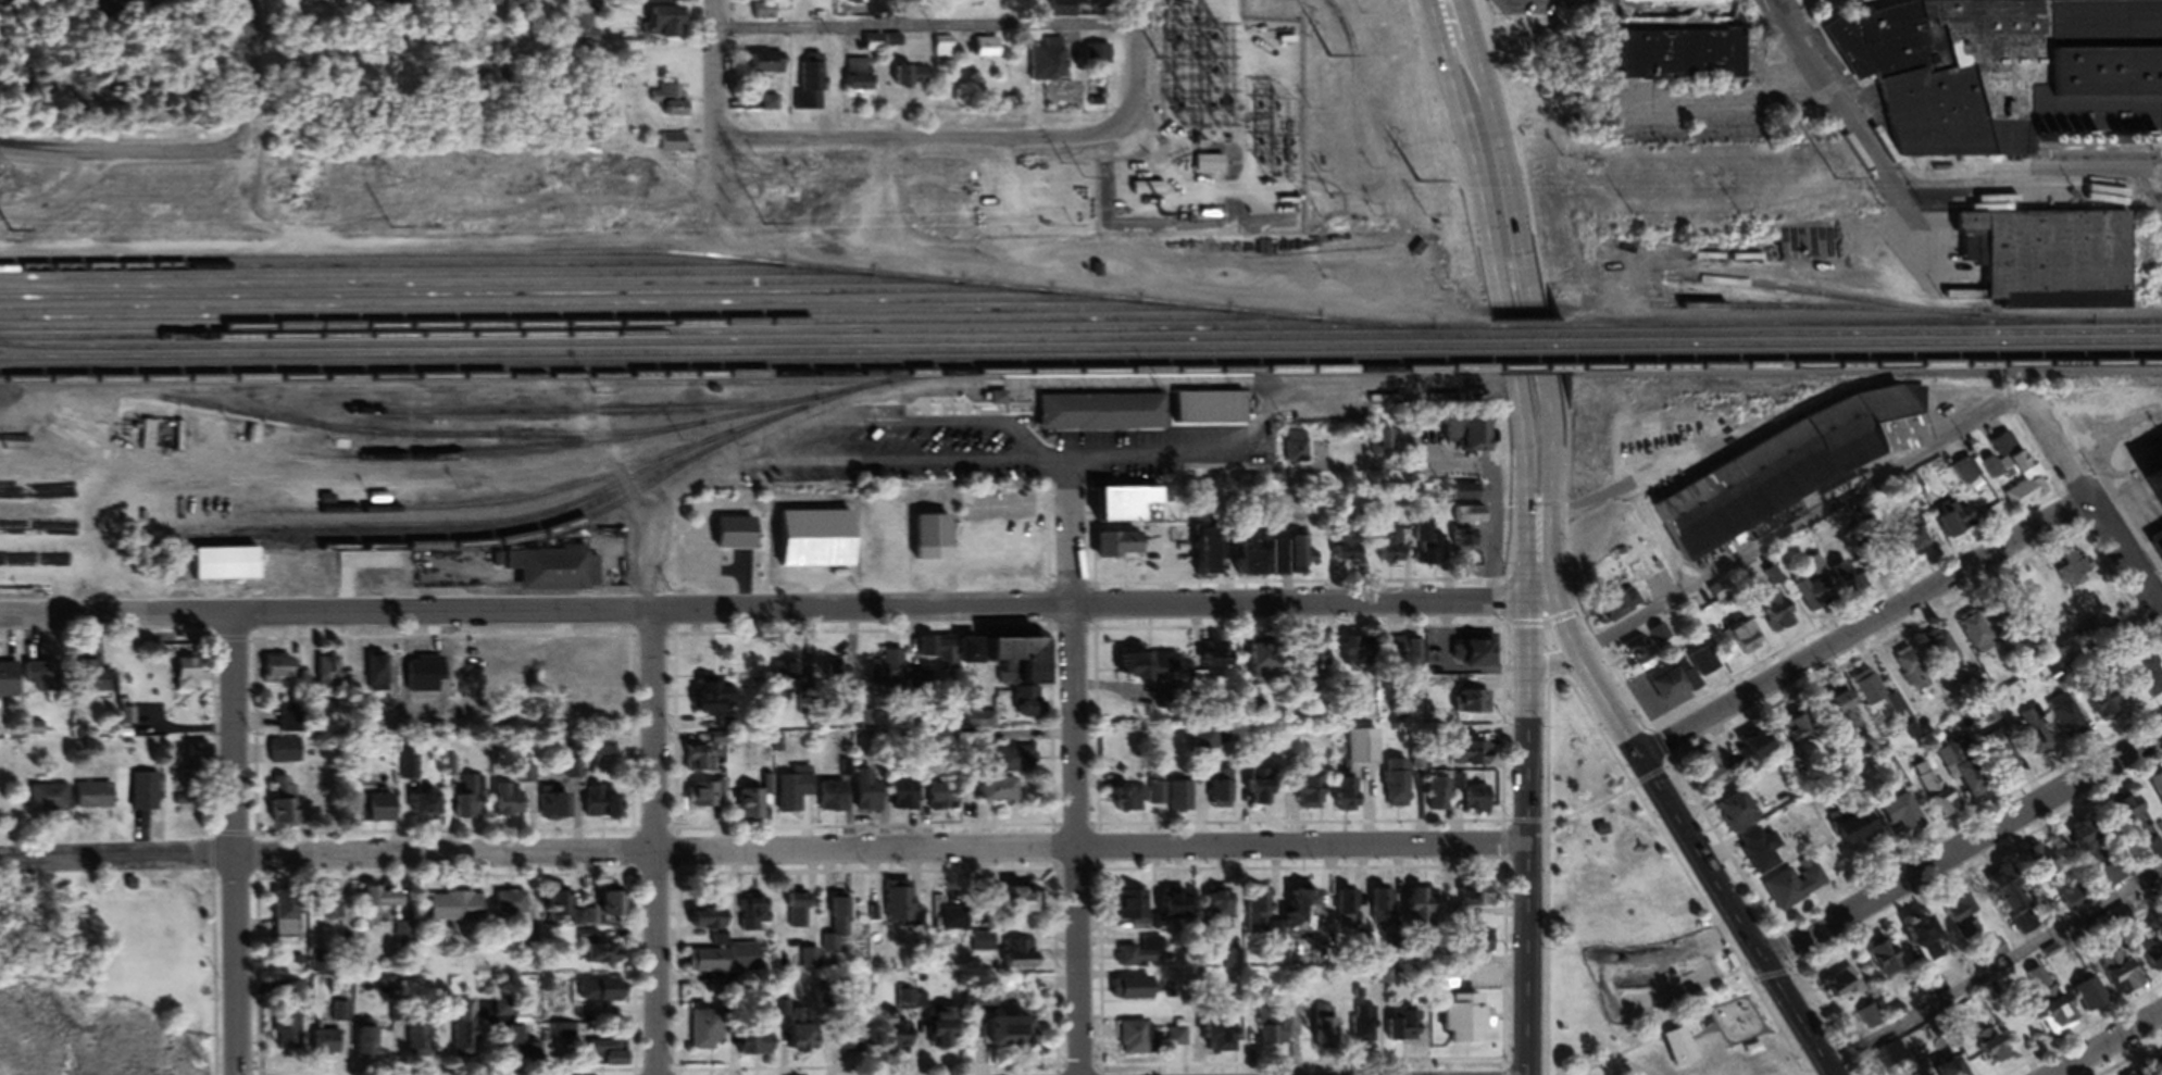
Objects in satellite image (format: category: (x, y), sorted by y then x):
building: (365, 1)
building: (909, 1)
building: (1091, 1)
building: (1671, 3)
building: (490, 4)
road: (1447, 8)
building: (873, 9)
building: (763, 15)
building: (667, 27)
road: (925, 29)
building: (587, 34)
building: (876, 47)
building: (988, 51)
building: (945, 52)
building: (1684, 59)
building: (1099, 60)
road: (1137, 60)
power tower: (1157, 63)
power tower: (1330, 63)
building: (1049, 64)
building: (768, 67)
building: (2010, 79)
road: (715, 80)
building: (861, 80)
building: (913, 82)
building: (813, 89)
road: (1832, 97)
road: (1724, 98)
building: (672, 105)
building: (772, 108)
road: (937, 139)
building: (673, 147)
power substation: (1182, 149)
road: (193, 151)
building: (1212, 167)
power tower: (1062, 168)
power tower: (1921, 172)
power tower: (1329, 177)
power tower: (751, 182)
power tower: (1834, 183)
power tower: (388, 185)
power tower: (1420, 187)
power tower: (14, 189)
power tower: (1172, 216)
power tower: (1733, 217)
power tower: (1333, 223)
railway: (714, 262)
building: (2058, 263)
railway: (389, 270)
railway: (434, 278)
railway: (479, 289)
railway: (523, 298)
road: (1528, 302)
railway: (1870, 304)
railway: (567, 308)
road: (1501, 308)
railway: (1808, 311)
railway: (612, 318)
railway: (658, 327)
railway: (1862, 328)
railway: (1526, 332)
railway: (743, 337)
railway: (1865, 338)
railway: (1529, 341)
railway: (745, 347)
railway: (1865, 349)
railway: (1532, 351)
railway: (747, 358)
railway: (1866, 360)
railway: (1533, 363)
railway: (748, 368)
railway: (1867, 370)
railway: (1536, 372)
railway: (749, 378)
railway: (1179, 378)
building: (1000, 402)
building: (1207, 412)
railway: (567, 413)
building: (1104, 415)
railway: (468, 438)
building: (149, 440)
railway: (640, 440)
building: (1487, 441)
building: (1386, 443)
building: (1360, 446)
parking lot: (947, 453)
road: (759, 457)
building: (2011, 459)
road: (1120, 464)
road: (1058, 465)
building: (1994, 472)
road: (1461, 473)
building: (1794, 473)
building: (1966, 474)
railway: (573, 489)
building: (53, 497)
building: (2027, 497)
road: (2090, 508)
building: (1129, 509)
building: (1959, 524)
road: (982, 528)
railway: (471, 529)
railway: (509, 534)
building: (936, 535)
road: (1071, 536)
building: (739, 537)
road: (1773, 541)
building: (820, 542)
building: (1915, 542)
railway: (515, 543)
building: (1470, 543)
building: (1392, 549)
building: (1123, 550)
building: (1350, 551)
building: (1432, 553)
building: (1209, 557)
building: (1263, 558)
building: (1304, 559)
building: (229, 568)
building: (557, 573)
building: (2075, 574)
building: (1851, 584)
building: (1722, 597)
building: (1814, 597)
road: (778, 610)
building: (1622, 610)
building: (1778, 615)
building: (2009, 624)
road: (1862, 628)
road: (1072, 634)
building: (1975, 636)
road: (651, 638)
building: (1746, 638)
building: (1660, 639)
road: (203, 643)
building: (1319, 652)
building: (1404, 653)
building: (1944, 653)
building: (1360, 654)
building: (1484, 654)
building: (1641, 657)
building: (1266, 660)
building: (1216, 662)
building: (937, 665)
building: (1150, 670)
building: (888, 672)
building: (282, 673)
building: (1014, 674)
building: (1912, 674)
building: (2150, 678)
building: (190, 679)
building: (838, 679)
building: (43, 680)
building: (99, 680)
building: (328, 680)
building: (787, 683)
building: (9, 685)
building: (1670, 686)
building: (1874, 696)
building: (718, 701)
building: (1474, 707)
building: (1848, 714)
building: (2065, 716)
building: (1799, 733)
building: (2035, 739)
building: (1207, 742)
building: (1364, 750)
building: (1760, 750)
building: (604, 752)
building: (287, 754)
building: (705, 758)
building: (1474, 758)
building: (1016, 763)
building: (199, 772)
building: (1712, 773)
building: (1972, 783)
building: (1398, 788)
building: (1223, 791)
building: (2157, 791)
building: (870, 793)
building: (795, 795)
building: (1000, 795)
building: (1935, 795)
building: (148, 796)
building: (1264, 796)
building: (707, 798)
building: (1313, 798)
building: (905, 799)
building: (1349, 799)
building: (1440, 799)
building: (50, 800)
building: (97, 800)
building: (1174, 800)
building: (835, 801)
building: (945, 801)
building: (511, 804)
building: (1130, 804)
building: (1478, 804)
building: (605, 807)
building: (554, 808)
building: (753, 808)
building: (470, 809)
building: (426, 810)
building: (383, 813)
building: (1738, 816)
building: (1904, 821)
building: (2135, 823)
road: (1502, 824)
road: (1051, 832)
building: (1854, 833)
road: (633, 834)
road: (630, 835)
road: (1527, 839)
road: (1690, 840)
road: (1073, 841)
road: (655, 842)
road: (235, 845)
road: (1963, 847)
road: (763, 850)
building: (2101, 853)
building: (1759, 855)
road: (448, 879)
building: (1796, 890)
building: (1478, 898)
building: (2012, 903)
building: (327, 905)
building: (1423, 905)
building: (379, 907)
building: (561, 907)
building: (614, 907)
building: (1022, 907)
building: (514, 909)
building: (1177, 909)
building: (1134, 910)
building: (1382, 910)
park: (1624, 910)
building: (457, 911)
building: (903, 912)
building: (1347, 912)
building: (800, 913)
building: (1303, 915)
building: (1223, 916)
building: (1261, 916)
building: (287, 917)
building: (755, 917)
building: (711, 922)
building: (1963, 922)
building: (955, 925)
building: (838, 926)
building: (405, 940)
building: (1926, 943)
building: (604, 957)
building: (1018, 960)
building: (1144, 961)
building: (1884, 961)
building: (2152, 961)
building: (809, 962)
building: (725, 963)
road: (1994, 963)
building: (318, 968)
road: (212, 975)
building: (2122, 977)
building: (1844, 987)
building: (2041, 988)
building: (1135, 992)
building: (604, 995)
building: (2092, 999)
building: (905, 1003)
building: (980, 1004)
building: (503, 1013)
building: (2062, 1018)
building: (1469, 1022)
building: (1872, 1022)
building: (1325, 1028)
building: (1364, 1029)
building: (1408, 1029)
building: (462, 1033)
building: (1274, 1033)
building: (709, 1034)
building: (945, 1034)
building: (288, 1036)
building: (1014, 1038)
building: (804, 1039)
building: (897, 1039)
building: (516, 1041)
building: (1179, 1041)
building: (1226, 1042)
building: (1136, 1043)
road: (2108, 1043)
building: (421, 1045)
building: (757, 1045)
building: (368, 1046)
building: (851, 1046)
building: (327, 1047)
building: (1992, 1053)
building: (609, 1057)
building: (1954, 1070)
building: (2160, 1074)

